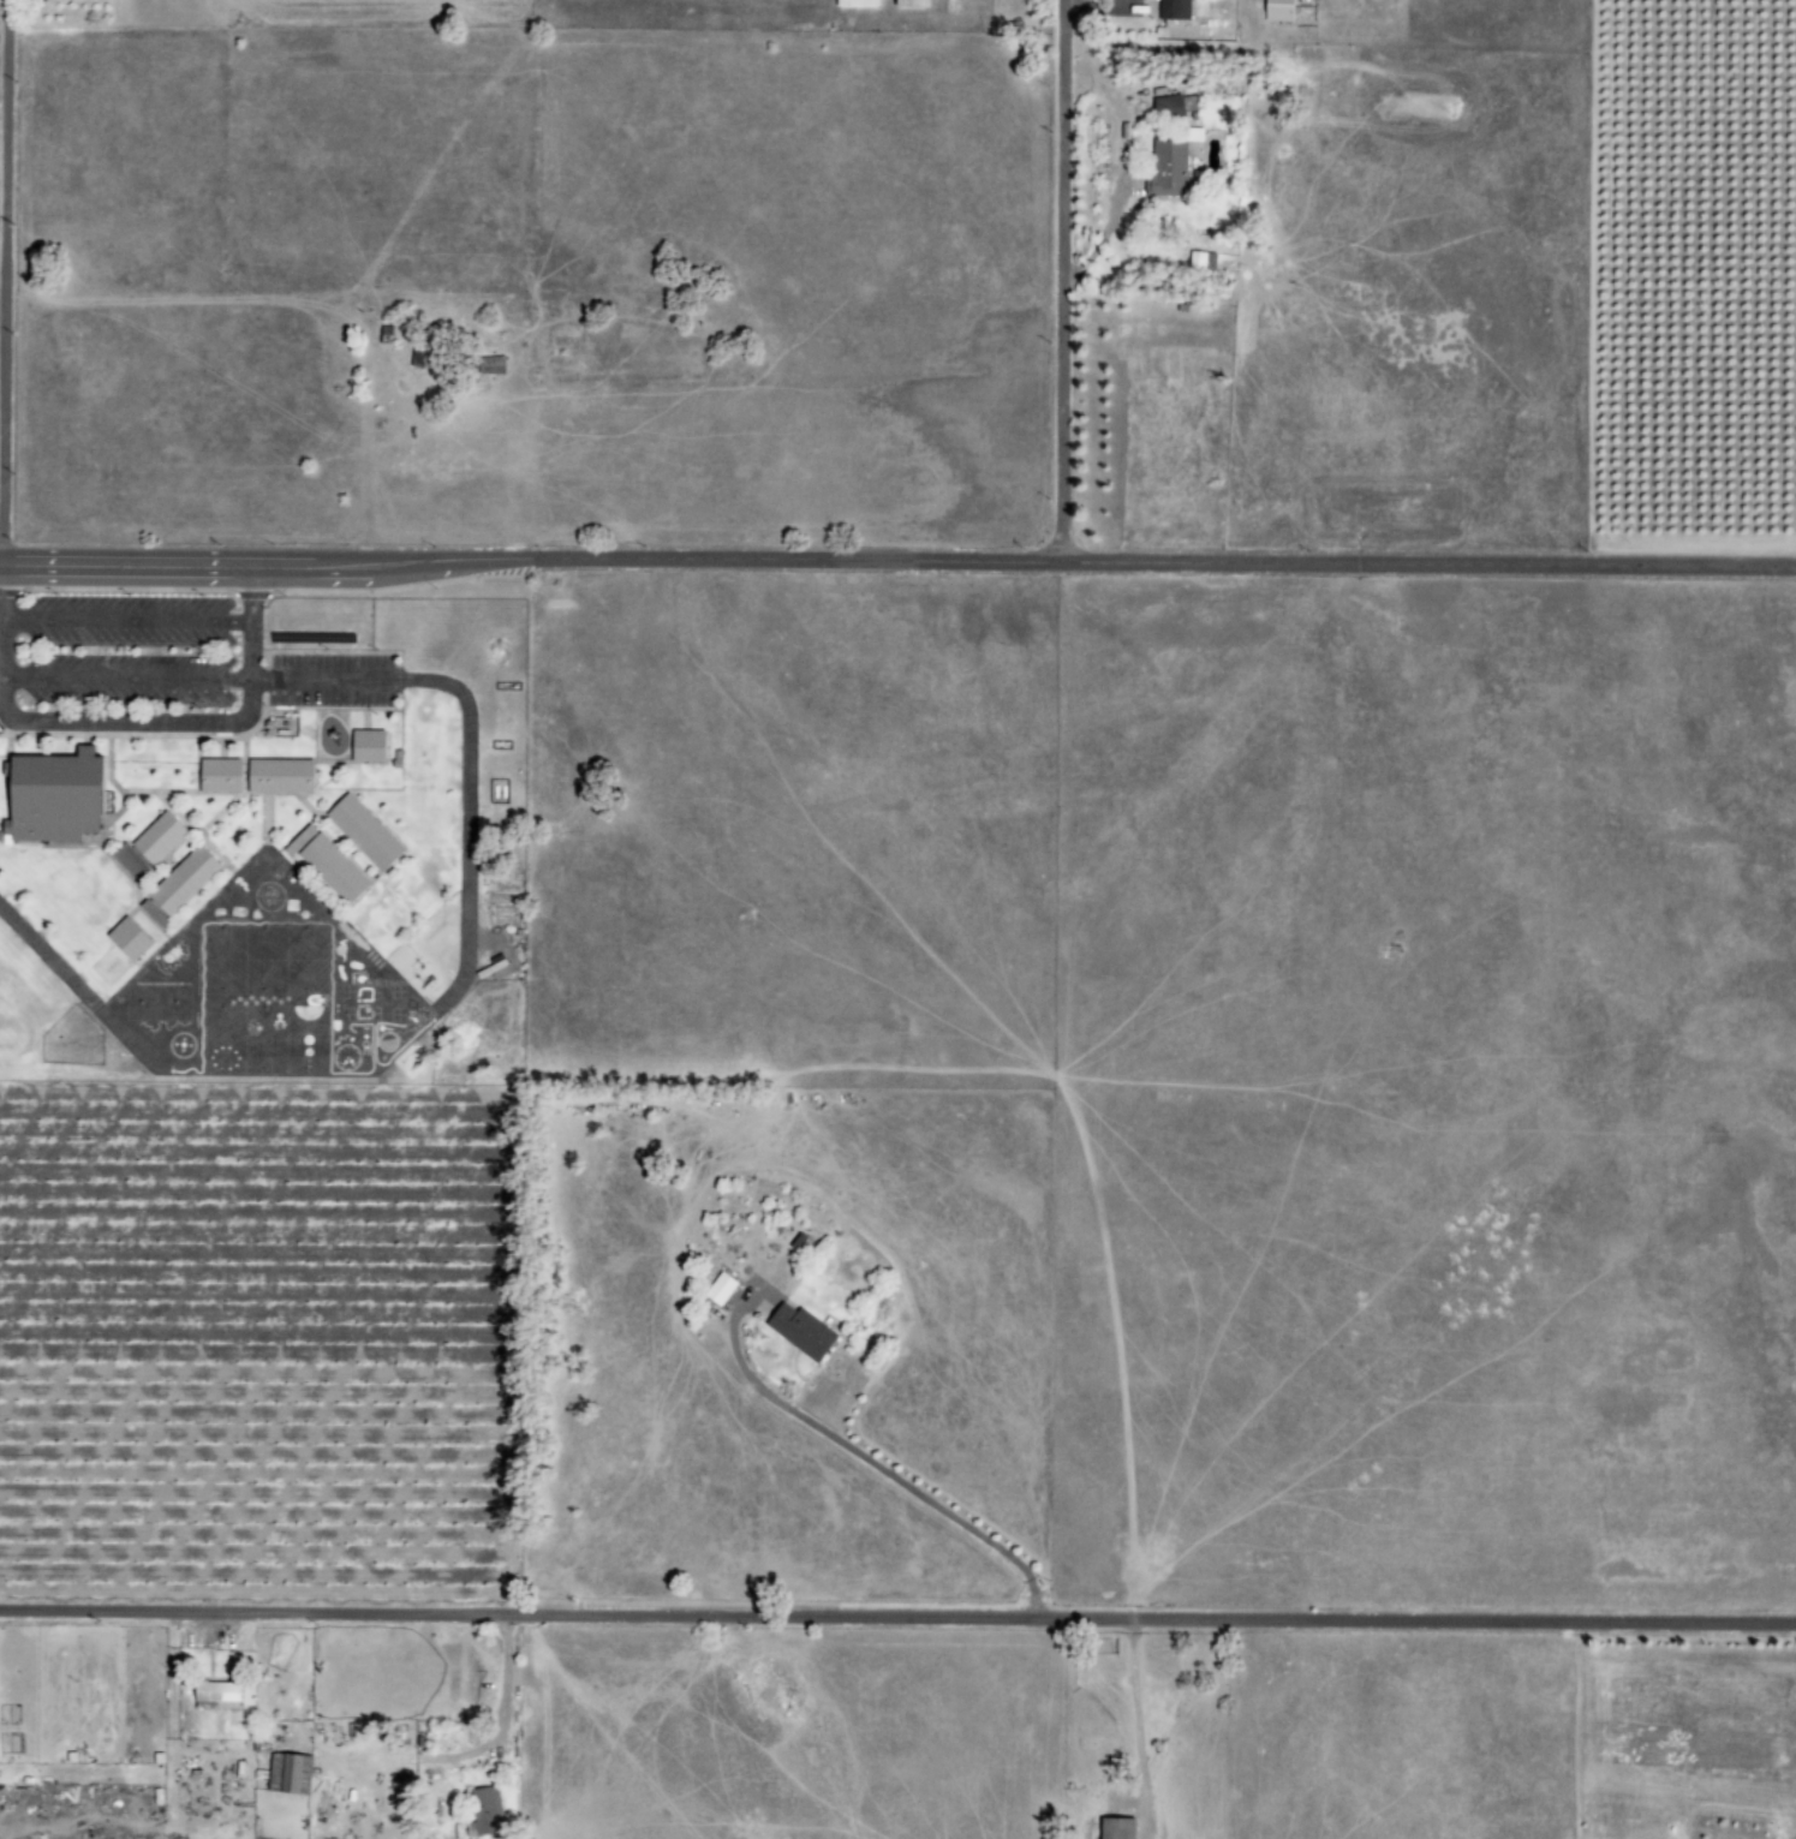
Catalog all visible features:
building: (852, 2)
building: (1170, 8)
building: (1273, 10)
building: (1170, 106)
building: (1164, 169)
road: (2, 280)
road: (1060, 280)
building: (489, 364)
road: (897, 560)
road: (0, 589)
road: (250, 592)
road: (125, 617)
solar farm: (315, 623)
road: (167, 723)
building: (364, 745)
building: (49, 794)
building: (359, 830)
building: (143, 846)
building: (323, 862)
building: (178, 879)
building: (148, 913)
building: (124, 938)
building: (491, 967)
building: (715, 1288)
building: (796, 1330)
crop: (259, 1338)
road: (897, 1611)
road: (502, 1679)
building: (210, 1691)
building: (282, 1771)
building: (481, 1809)
building: (1111, 1828)

